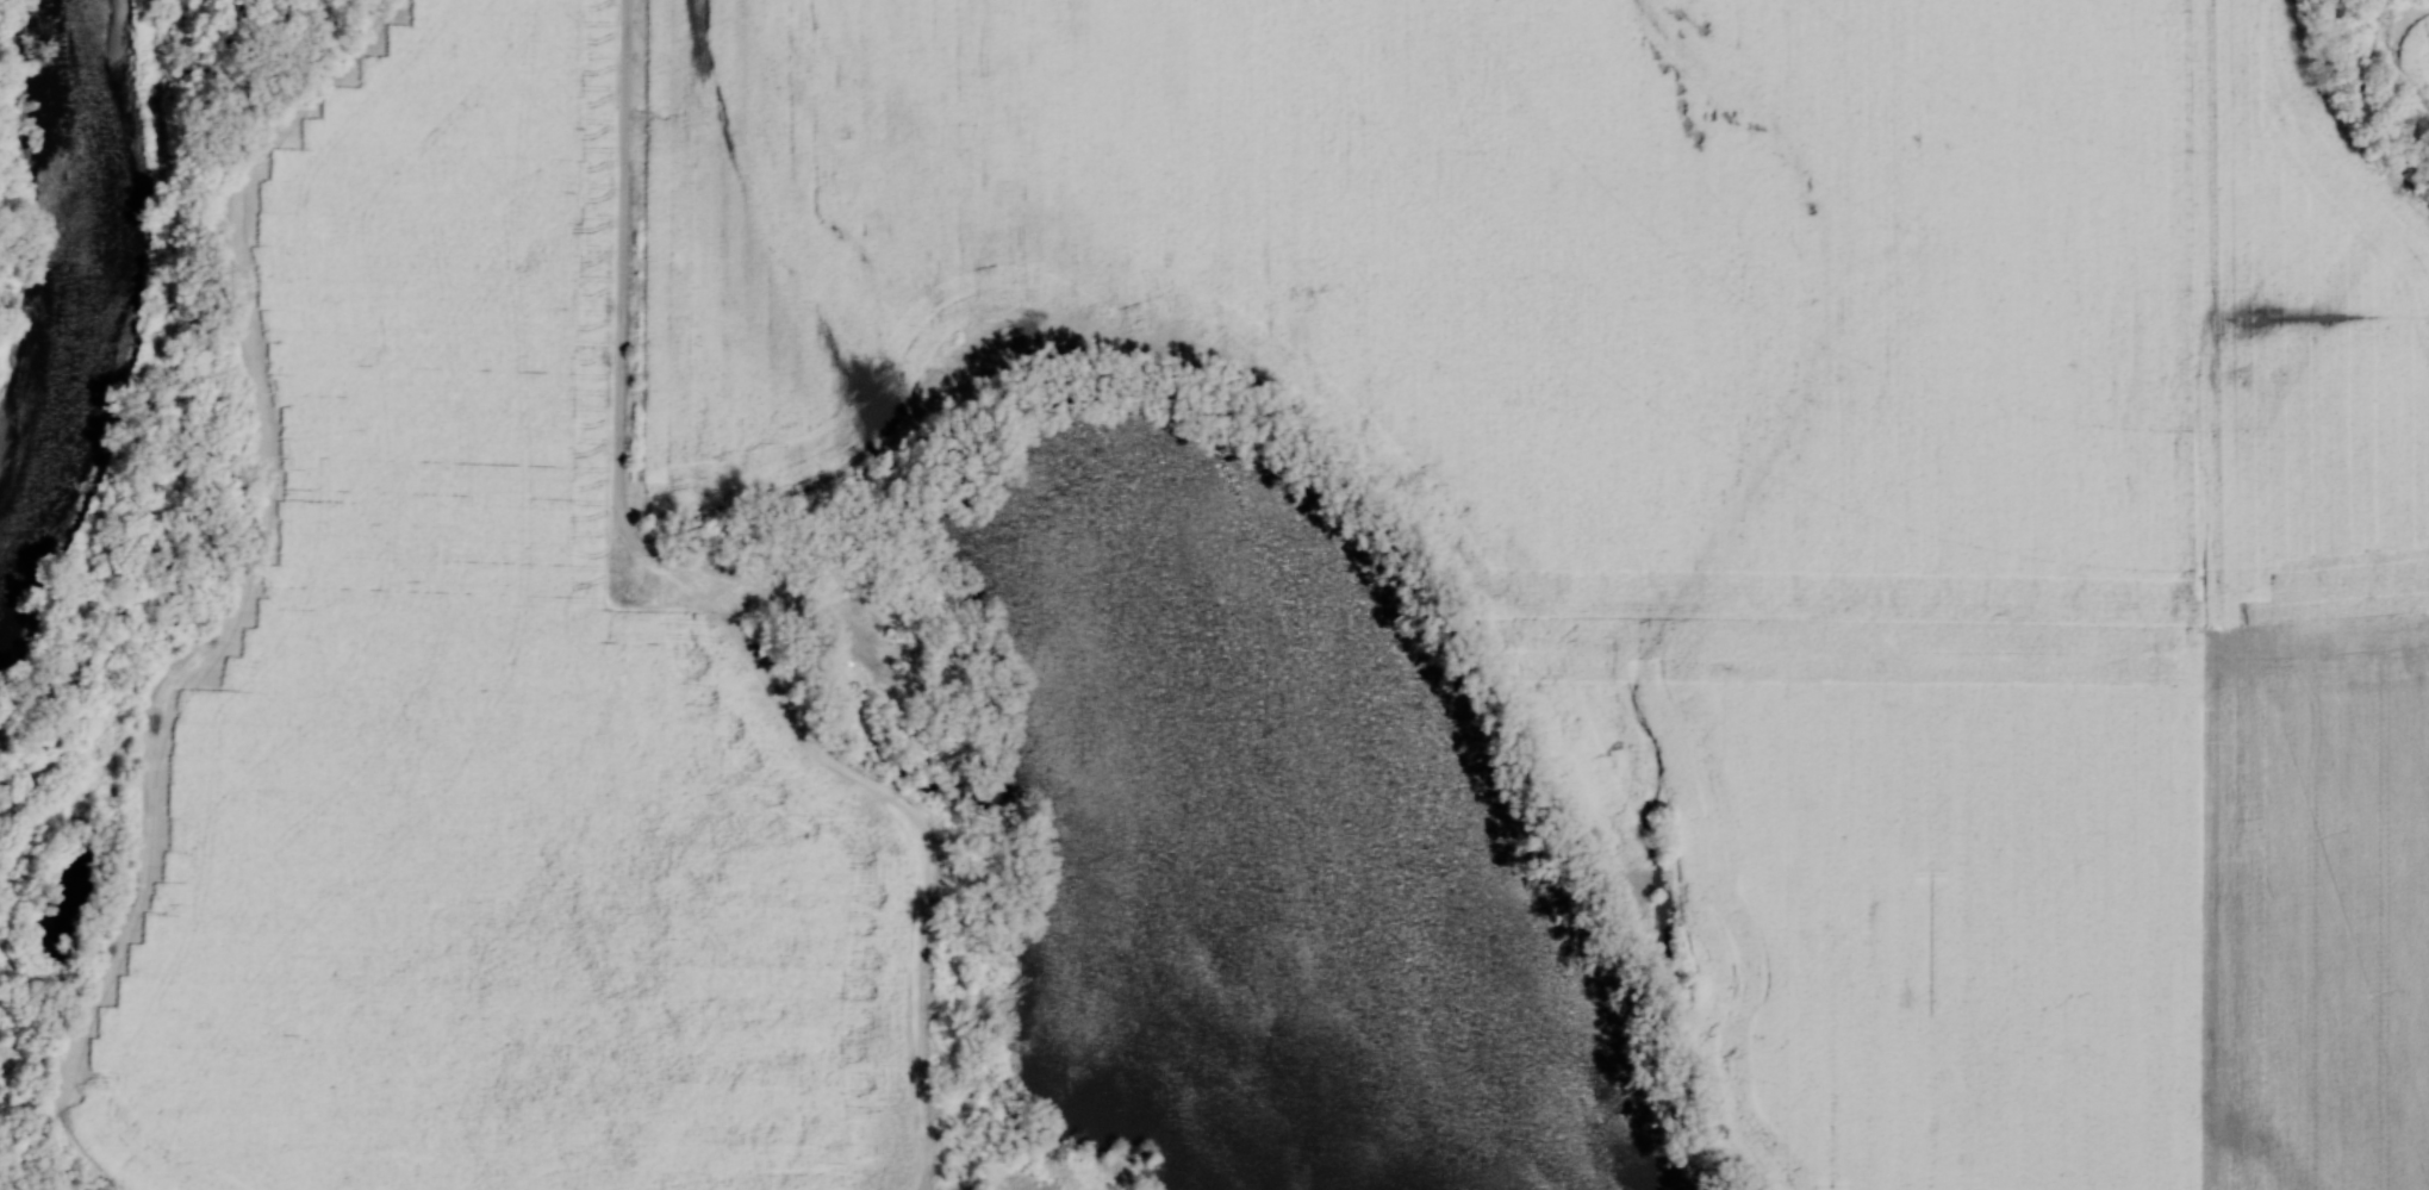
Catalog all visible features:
river: (71, 272)
road: (625, 379)

